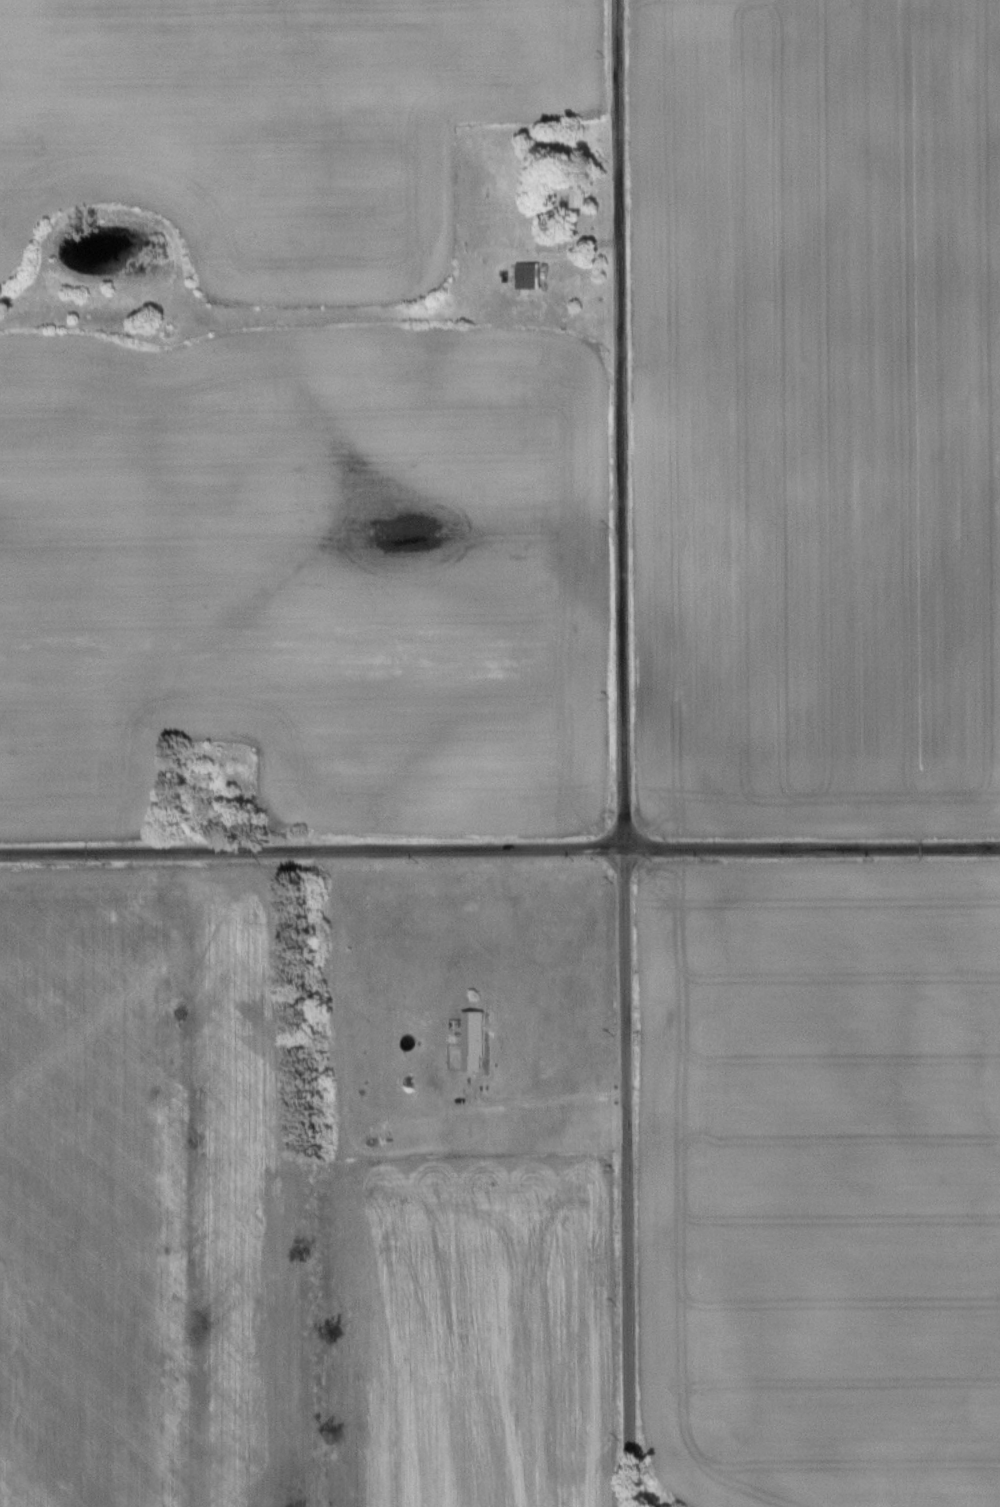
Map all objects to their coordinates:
building: (574, 196)
building: (551, 243)
building: (528, 276)
road: (623, 753)
road: (499, 852)
building: (474, 1041)
road: (548, 1103)

